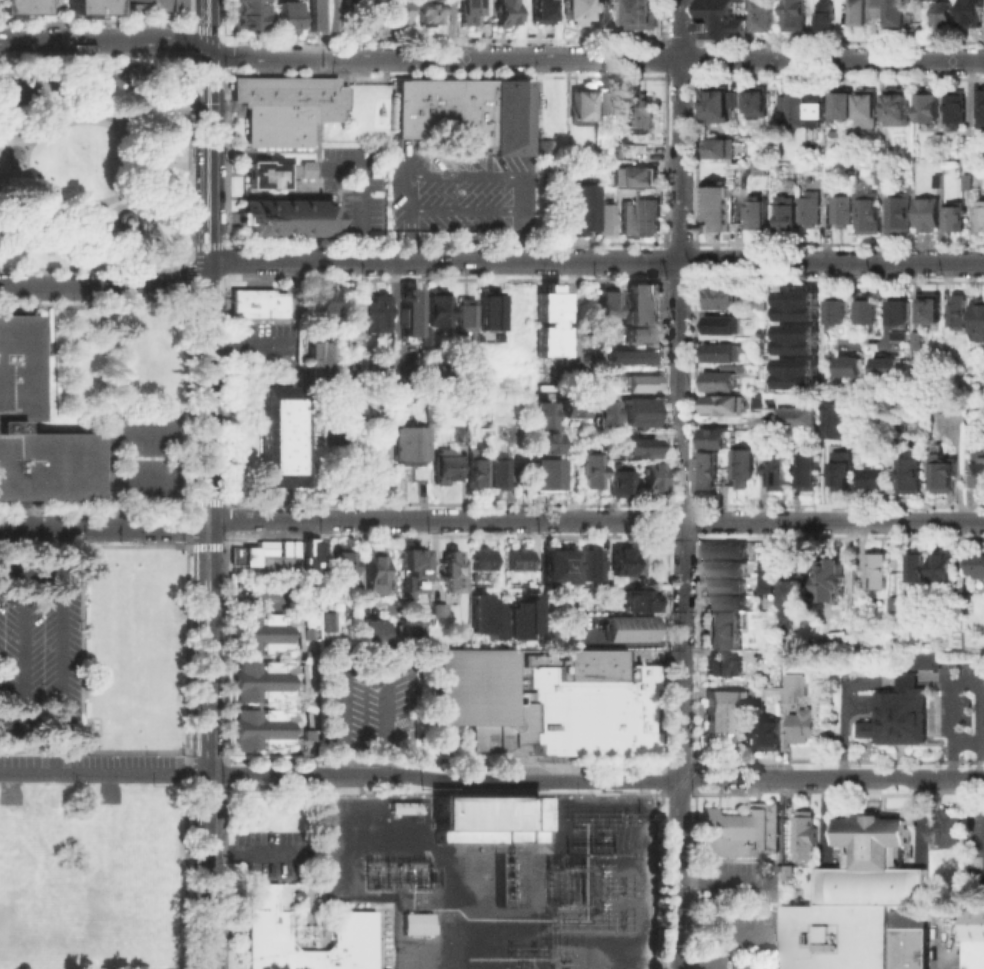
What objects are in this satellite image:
building: (155, 7)
building: (19, 8)
building: (90, 9)
building: (572, 11)
building: (867, 11)
building: (542, 12)
building: (361, 13)
building: (427, 14)
building: (469, 14)
building: (506, 14)
building: (973, 14)
building: (325, 15)
building: (395, 15)
building: (603, 15)
building: (796, 15)
building: (253, 16)
building: (643, 16)
building: (899, 16)
building: (766, 17)
building: (947, 17)
building: (827, 18)
building: (289, 20)
building: (724, 20)
road: (214, 23)
road: (107, 40)
road: (191, 47)
road: (597, 59)
road: (202, 74)
park: (31, 88)
road: (151, 90)
road: (120, 98)
building: (759, 104)
building: (605, 105)
building: (845, 105)
building: (722, 106)
building: (795, 106)
road: (140, 107)
building: (928, 107)
building: (580, 108)
building: (818, 108)
building: (899, 109)
building: (957, 110)
building: (982, 110)
building: (446, 111)
building: (869, 111)
building: (288, 112)
building: (644, 116)
road: (118, 120)
building: (512, 121)
road: (13, 140)
building: (718, 149)
building: (545, 151)
building: (622, 153)
building: (638, 154)
fountain: (14, 156)
building: (966, 156)
road: (191, 157)
road: (214, 157)
road: (141, 159)
park: (93, 160)
road: (166, 161)
building: (763, 171)
building: (307, 172)
road: (13, 175)
building: (835, 175)
building: (880, 176)
building: (267, 178)
road: (522, 178)
building: (887, 178)
building: (638, 180)
building: (940, 183)
building: (970, 183)
parking lot: (357, 190)
parking lot: (451, 194)
road: (361, 199)
road: (108, 205)
building: (717, 209)
building: (813, 209)
building: (578, 212)
building: (844, 212)
road: (116, 213)
building: (788, 213)
building: (759, 214)
building: (869, 214)
building: (929, 216)
building: (900, 217)
building: (982, 217)
building: (956, 218)
building: (287, 221)
road: (153, 222)
building: (651, 222)
building: (124, 223)
building: (605, 223)
building: (629, 223)
road: (151, 237)
road: (411, 237)
road: (202, 245)
road: (597, 261)
road: (188, 270)
road: (108, 285)
building: (723, 298)
building: (321, 302)
building: (643, 304)
building: (798, 304)
building: (257, 306)
building: (487, 309)
building: (608, 309)
building: (439, 310)
building: (932, 310)
building: (405, 311)
building: (902, 313)
building: (841, 314)
building: (872, 314)
building: (961, 314)
road: (773, 315)
building: (463, 316)
building: (374, 317)
building: (350, 319)
building: (980, 322)
building: (550, 323)
building: (727, 327)
building: (637, 336)
road: (209, 337)
building: (902, 337)
building: (798, 338)
building: (425, 339)
building: (915, 339)
building: (922, 342)
parking lot: (259, 346)
road: (251, 348)
building: (724, 354)
building: (314, 359)
building: (630, 359)
building: (17, 366)
building: (852, 367)
building: (890, 368)
building: (430, 372)
building: (798, 372)
building: (376, 376)
building: (618, 379)
building: (722, 383)
building: (639, 385)
road: (681, 388)
building: (761, 405)
building: (730, 407)
building: (565, 411)
building: (598, 417)
building: (637, 417)
building: (800, 418)
building: (534, 419)
building: (841, 419)
road: (721, 422)
building: (280, 435)
building: (456, 435)
building: (770, 439)
building: (717, 440)
building: (539, 447)
building: (867, 447)
building: (412, 449)
building: (636, 450)
building: (444, 468)
building: (748, 469)
building: (783, 469)
building: (947, 470)
building: (814, 471)
building: (590, 472)
building: (847, 472)
building: (714, 473)
building: (981, 473)
building: (498, 474)
building: (476, 475)
building: (543, 475)
building: (650, 478)
building: (914, 478)
building: (877, 479)
building: (617, 483)
road: (765, 488)
road: (205, 500)
road: (598, 520)
road: (98, 528)
road: (213, 535)
road: (197, 536)
road: (205, 545)
building: (726, 549)
building: (259, 559)
building: (313, 560)
building: (482, 561)
building: (519, 561)
building: (620, 563)
building: (726, 566)
building: (588, 567)
building: (978, 567)
building: (407, 568)
building: (773, 569)
building: (923, 569)
building: (949, 569)
building: (447, 570)
building: (343, 571)
building: (557, 571)
building: (882, 572)
building: (375, 576)
building: (838, 581)
building: (726, 583)
building: (633, 599)
building: (801, 599)
building: (726, 600)
building: (868, 605)
building: (900, 606)
building: (480, 616)
building: (517, 616)
road: (59, 617)
building: (329, 624)
building: (309, 627)
building: (720, 628)
building: (627, 631)
building: (407, 633)
building: (263, 634)
building: (369, 637)
road: (23, 647)
parking lot: (41, 649)
road: (363, 656)
building: (930, 661)
building: (726, 668)
road: (964, 677)
building: (264, 683)
building: (471, 686)
building: (797, 688)
building: (759, 693)
parking lot: (365, 702)
building: (576, 703)
building: (724, 708)
building: (902, 716)
road: (846, 717)
road: (30, 720)
building: (805, 727)
building: (262, 732)
building: (773, 734)
building: (308, 737)
road: (964, 741)
building: (456, 742)
road: (60, 747)
road: (103, 774)
road: (595, 780)
road: (207, 816)
building: (484, 818)
road: (920, 821)
building: (954, 829)
building: (743, 834)
building: (807, 838)
building: (875, 846)
parking lot: (275, 851)
road: (251, 852)
parking lot: (975, 856)
road: (678, 873)
building: (790, 875)
power substation: (496, 877)
building: (877, 891)
parking lot: (744, 917)
building: (414, 922)
building: (264, 925)
road: (722, 928)
building: (975, 928)
building: (840, 939)
building: (911, 950)
building: (975, 956)
road: (696, 958)

